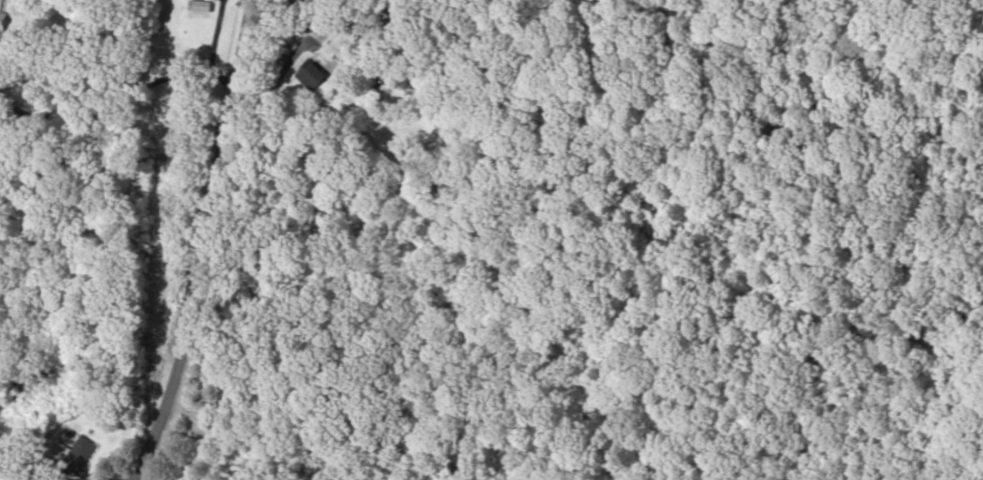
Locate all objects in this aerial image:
building: (2, 18)
building: (310, 75)
road: (214, 248)
building: (80, 454)

